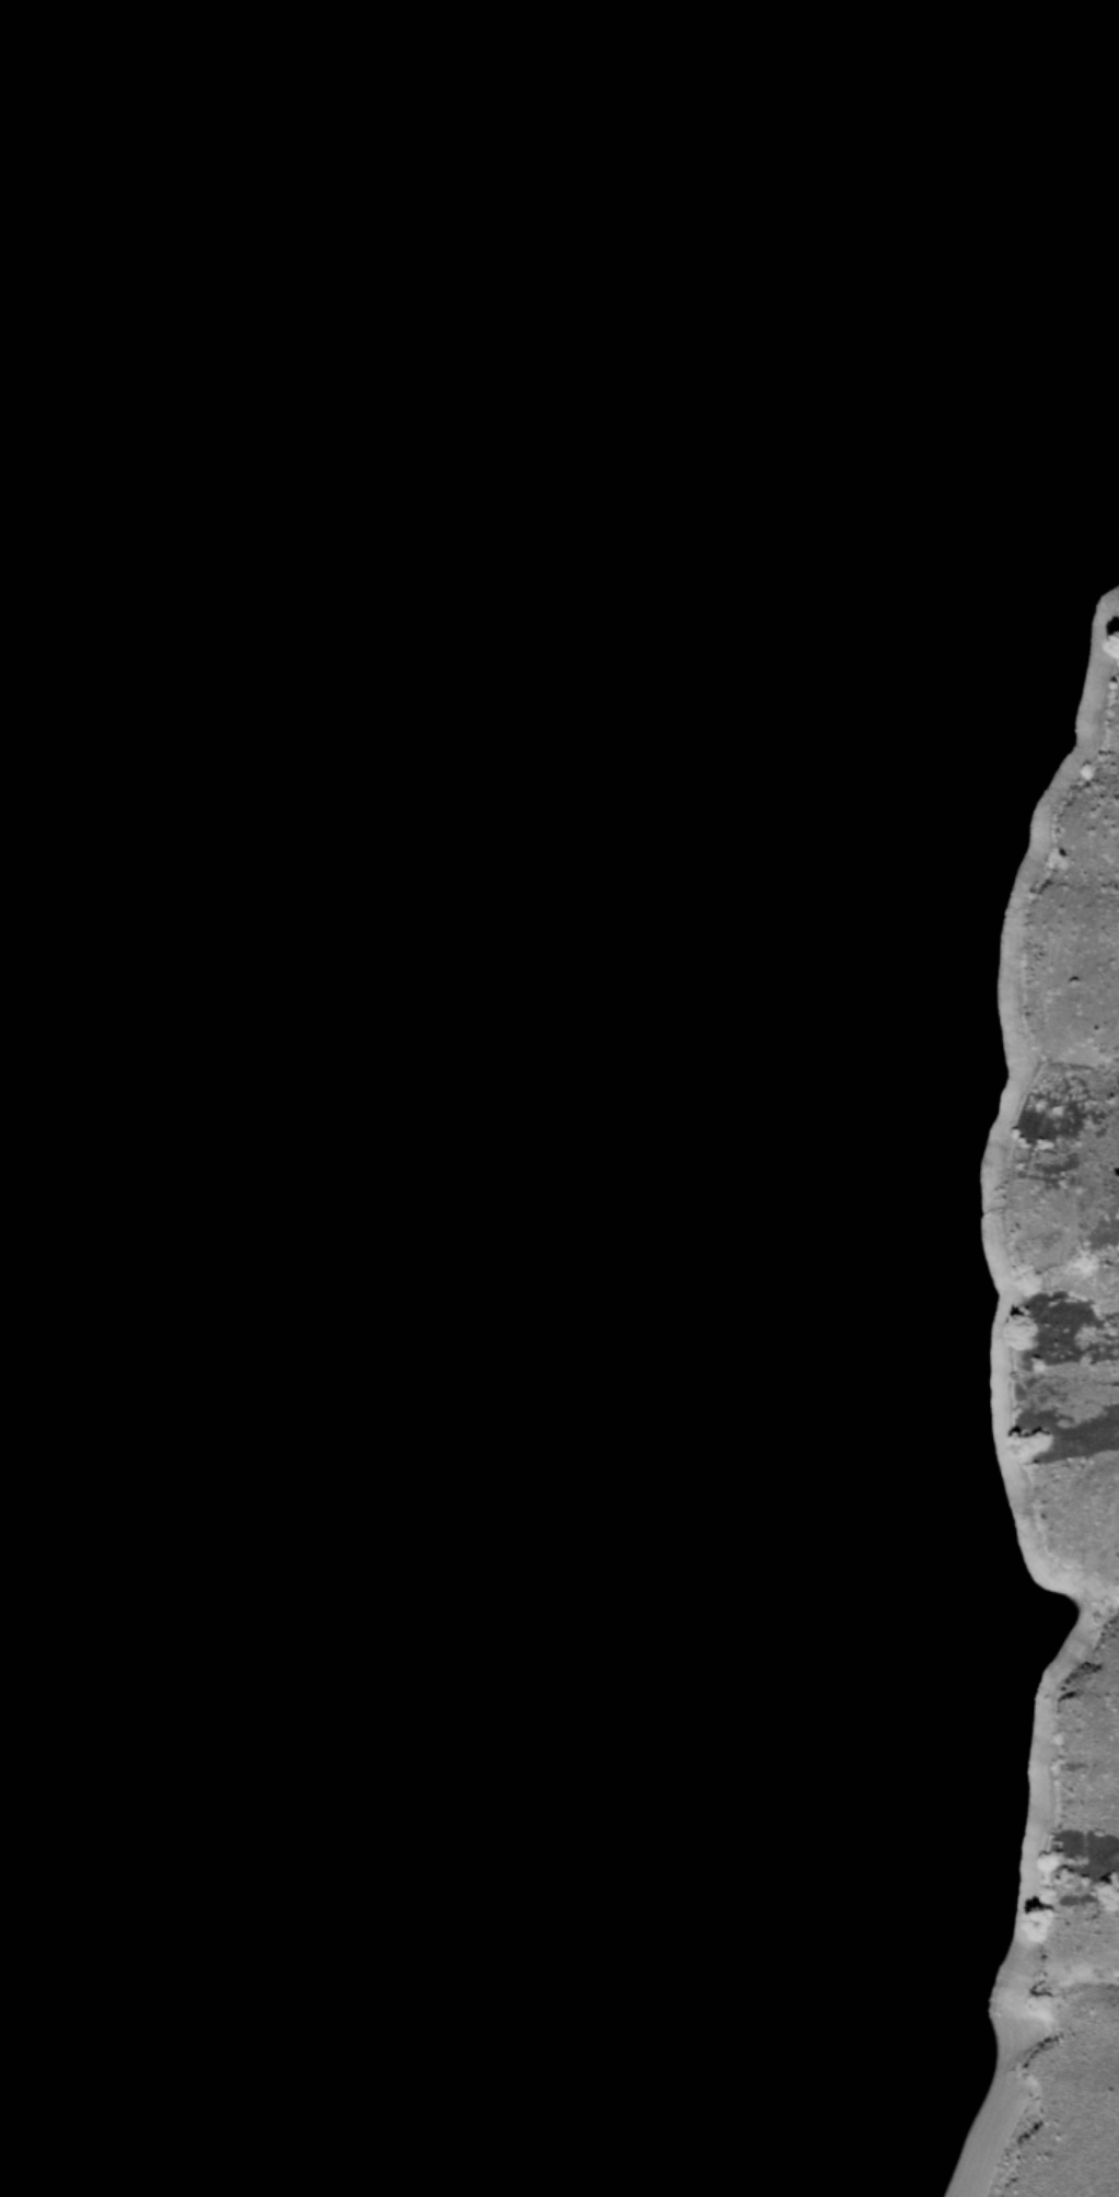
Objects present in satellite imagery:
river: (537, 1055)

